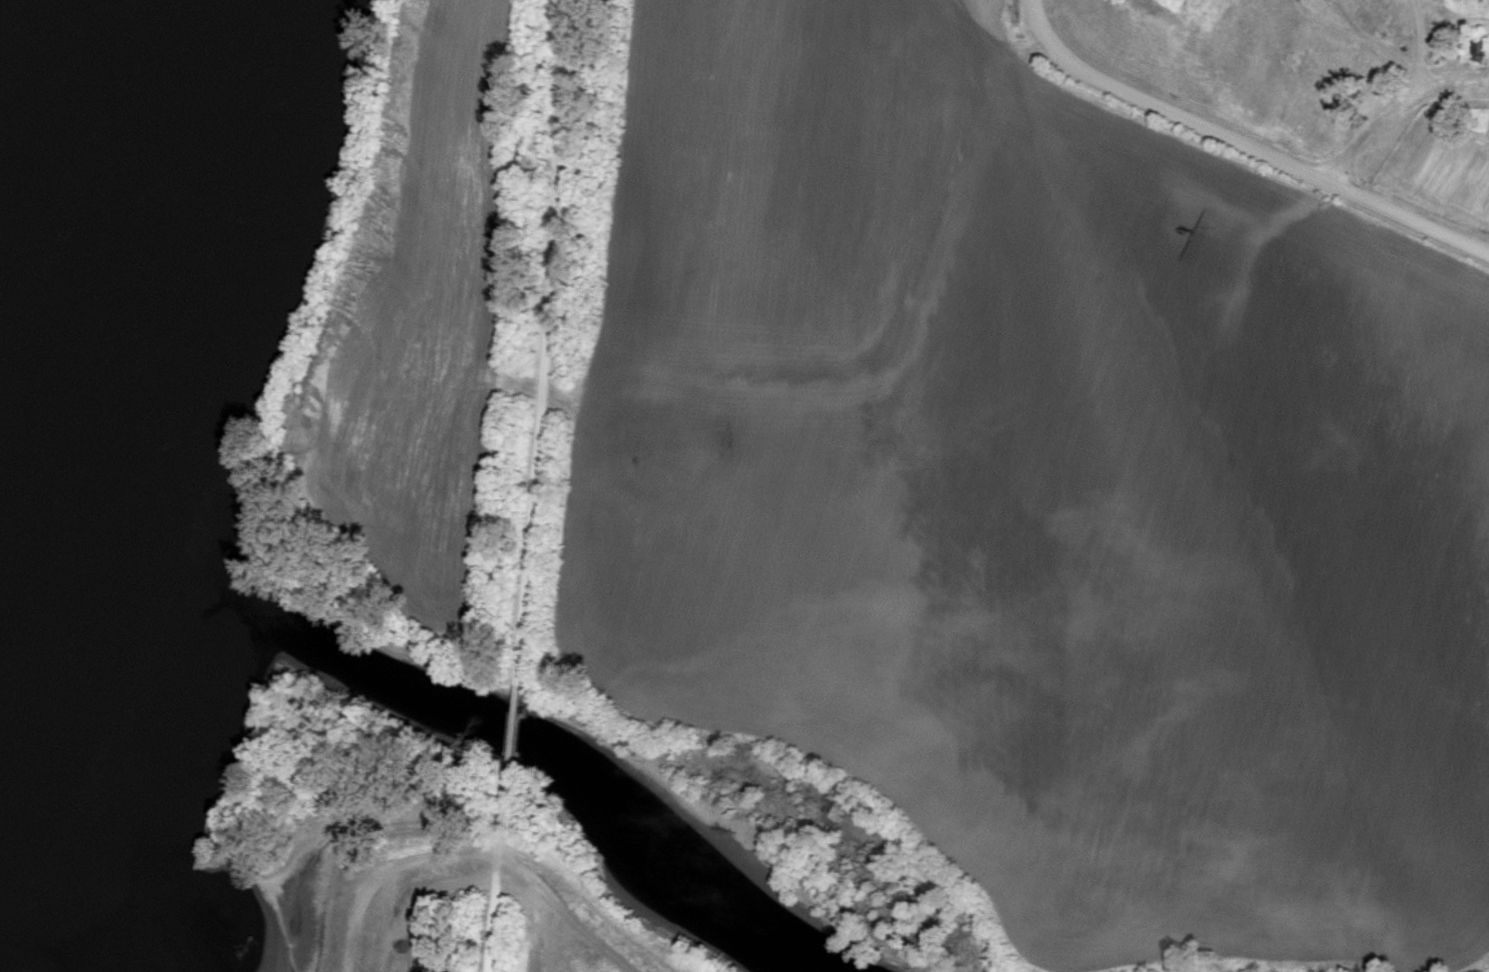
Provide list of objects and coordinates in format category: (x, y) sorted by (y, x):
road: (1395, 102)
road: (1238, 144)
road: (530, 485)
road: (283, 891)
road: (537, 902)

